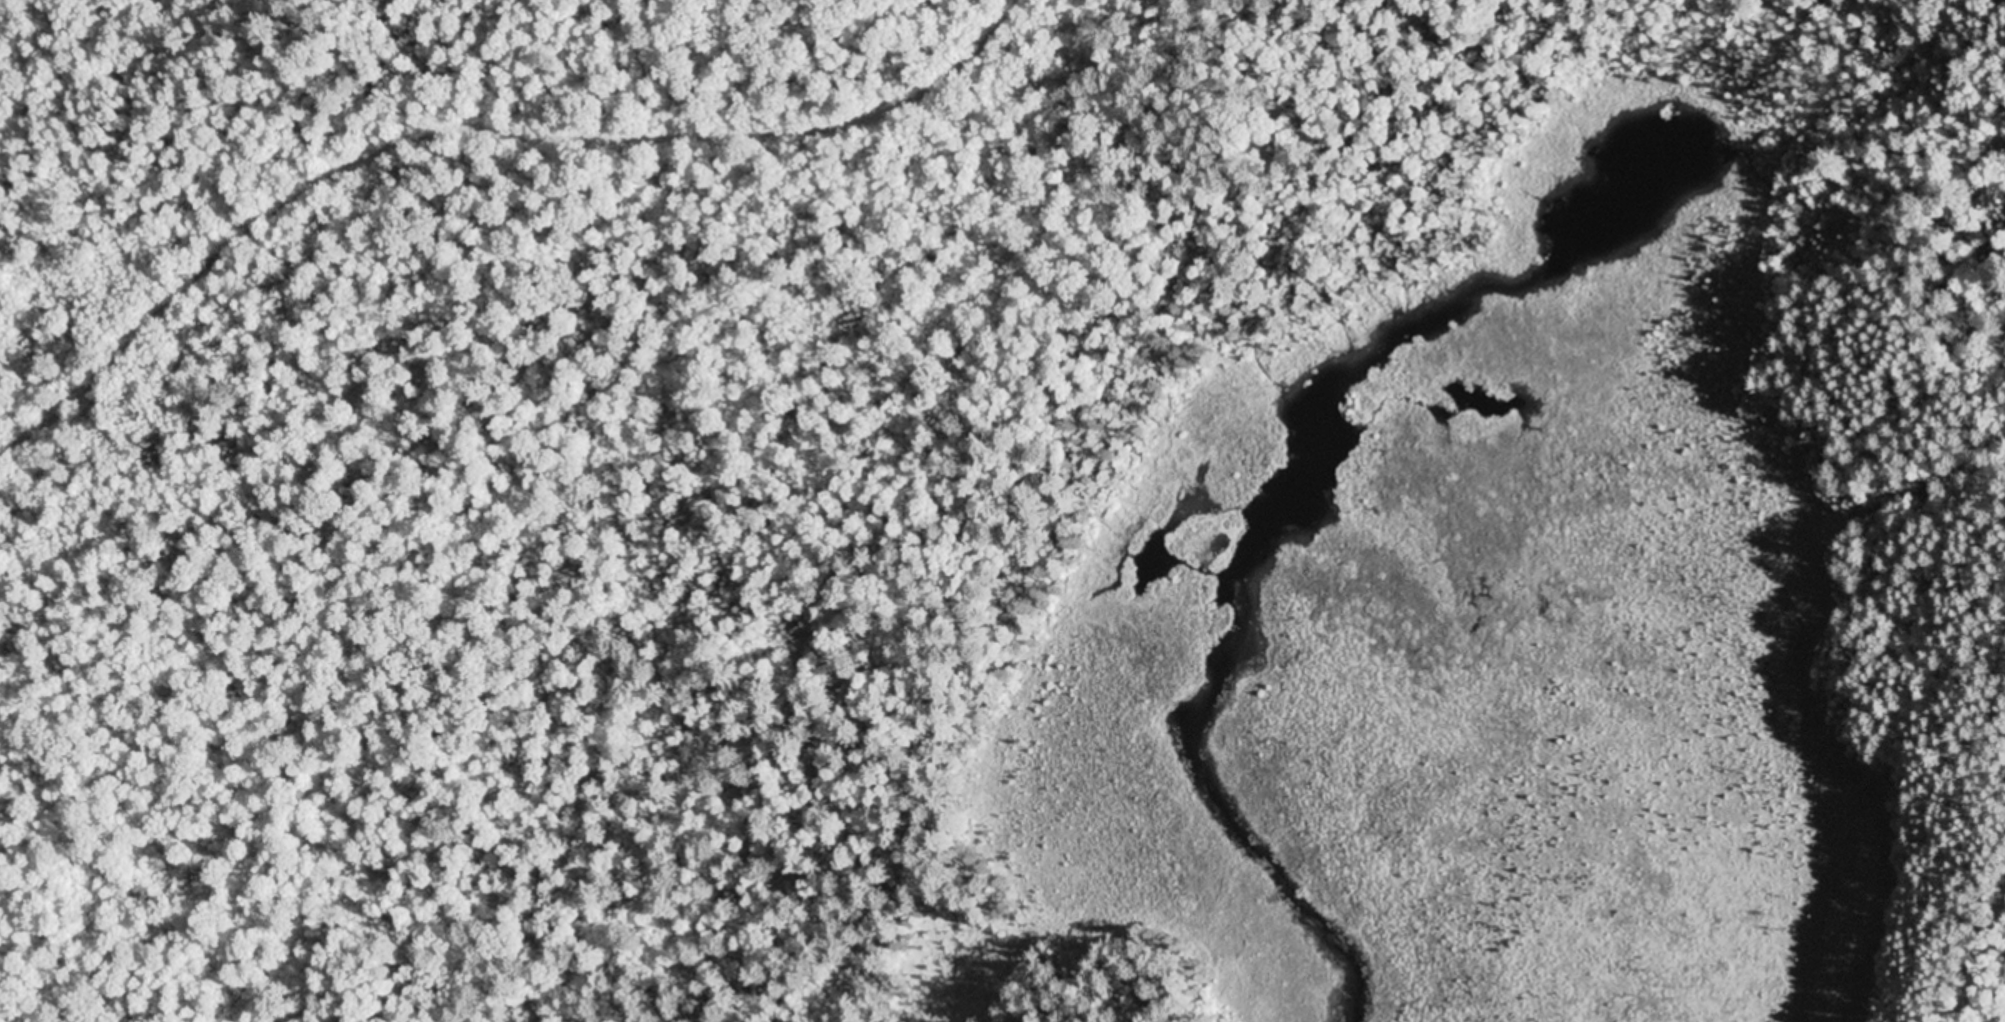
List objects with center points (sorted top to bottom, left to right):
road: (478, 130)

